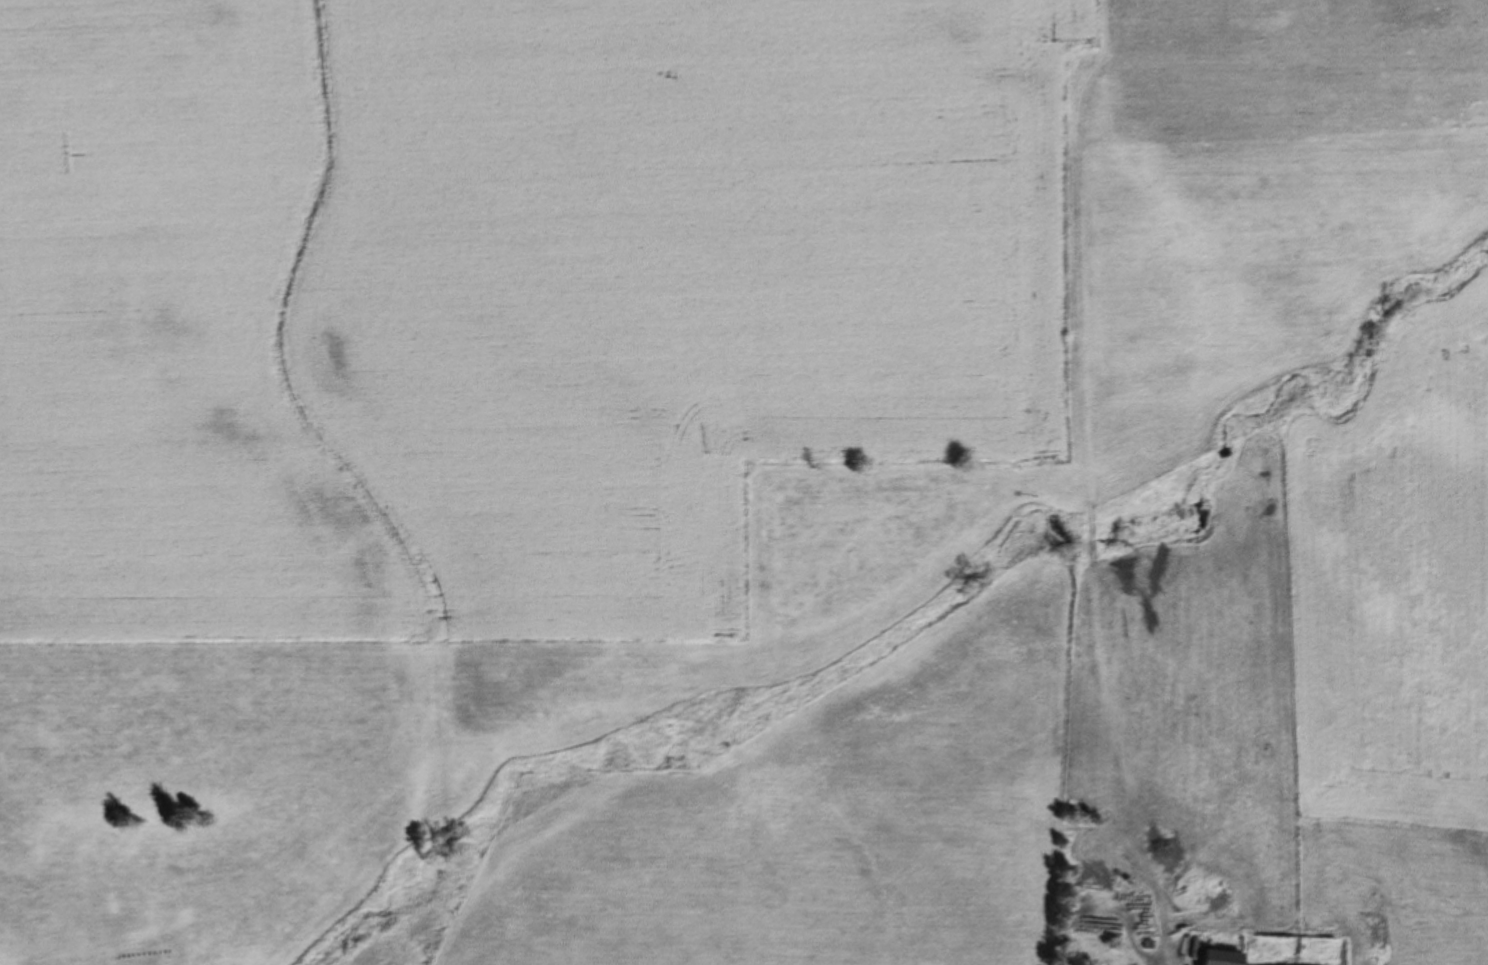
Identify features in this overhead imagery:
building: (1215, 958)

